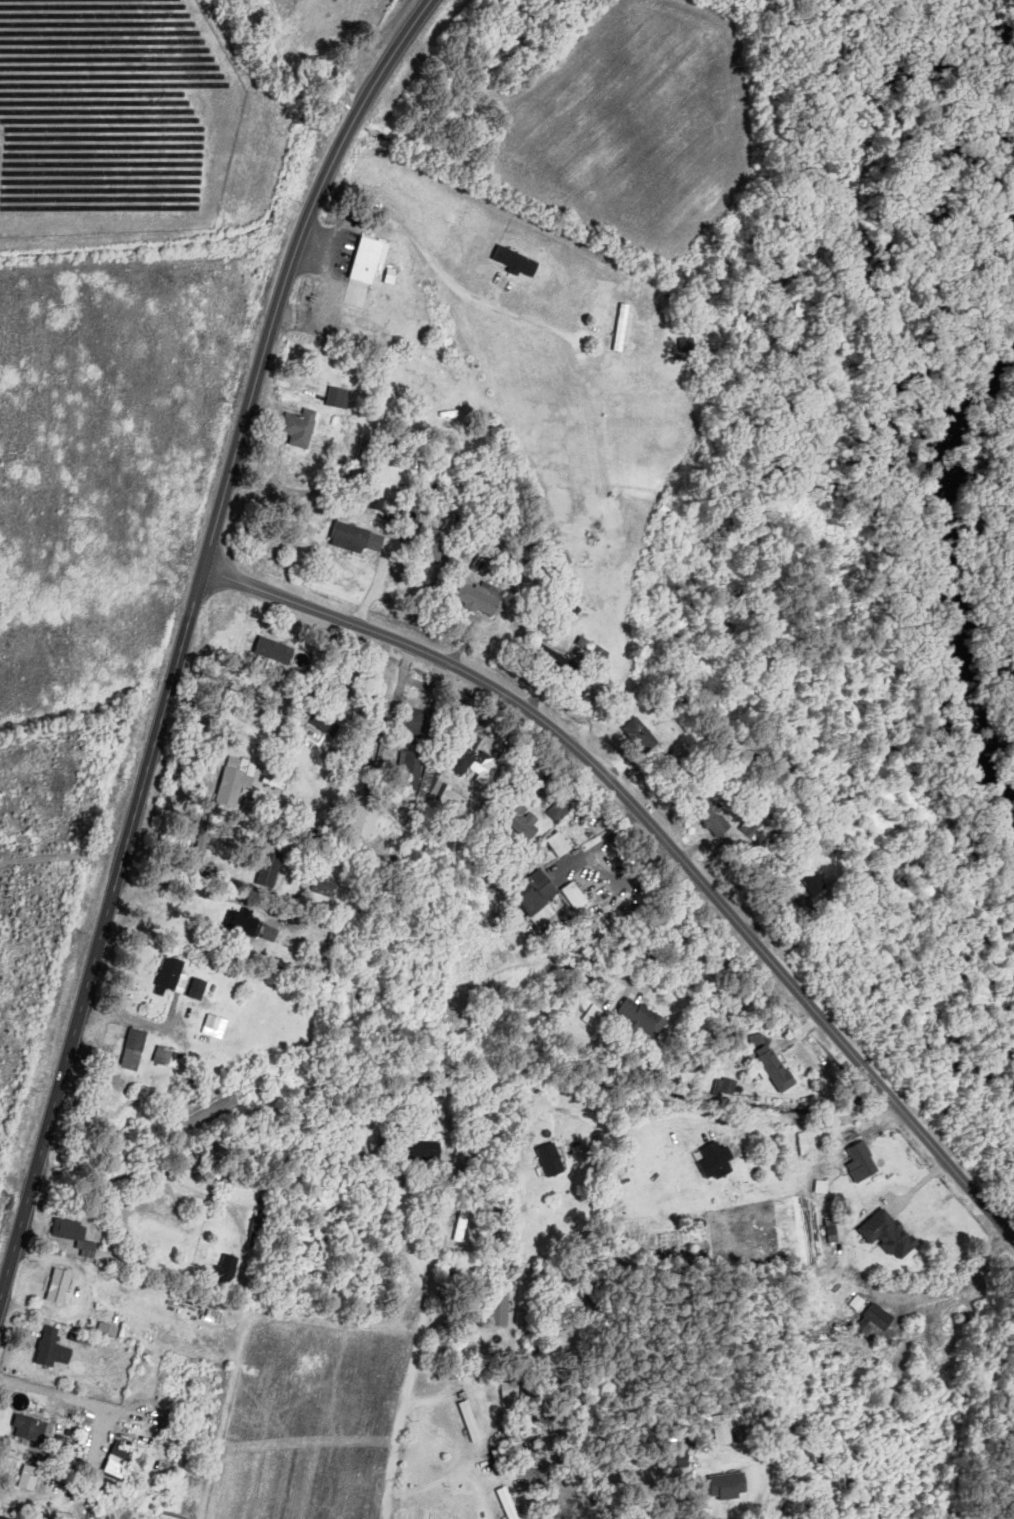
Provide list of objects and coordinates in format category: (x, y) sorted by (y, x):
solar farm: (113, 116)
building: (371, 260)
building: (625, 328)
building: (691, 346)
building: (339, 405)
road: (249, 413)
building: (301, 429)
building: (647, 486)
building: (670, 509)
building: (359, 537)
river: (957, 575)
road: (262, 590)
building: (481, 598)
road: (390, 637)
building: (596, 650)
building: (422, 724)
building: (641, 731)
building: (476, 760)
building: (413, 766)
building: (706, 807)
building: (563, 810)
building: (523, 820)
building: (202, 847)
building: (270, 874)
building: (327, 885)
road: (191, 887)
building: (541, 898)
building: (254, 926)
road: (595, 935)
building: (338, 937)
road: (751, 937)
building: (176, 975)
building: (200, 989)
building: (597, 1017)
building: (646, 1018)
road: (143, 1025)
building: (218, 1026)
building: (137, 1050)
building: (170, 1058)
building: (780, 1068)
road: (63, 1084)
road: (707, 1115)
building: (384, 1145)
building: (431, 1151)
building: (864, 1157)
building: (554, 1161)
building: (717, 1163)
building: (261, 1234)
building: (893, 1235)
building: (77, 1236)
building: (230, 1270)
building: (62, 1287)
building: (526, 1319)
building: (878, 1324)
road: (424, 1343)
building: (56, 1350)
building: (471, 1416)
building: (31, 1430)
building: (736, 1438)
building: (120, 1464)
building: (32, 1478)
building: (499, 1479)
building: (732, 1488)
building: (511, 1504)
road: (22, 1511)

